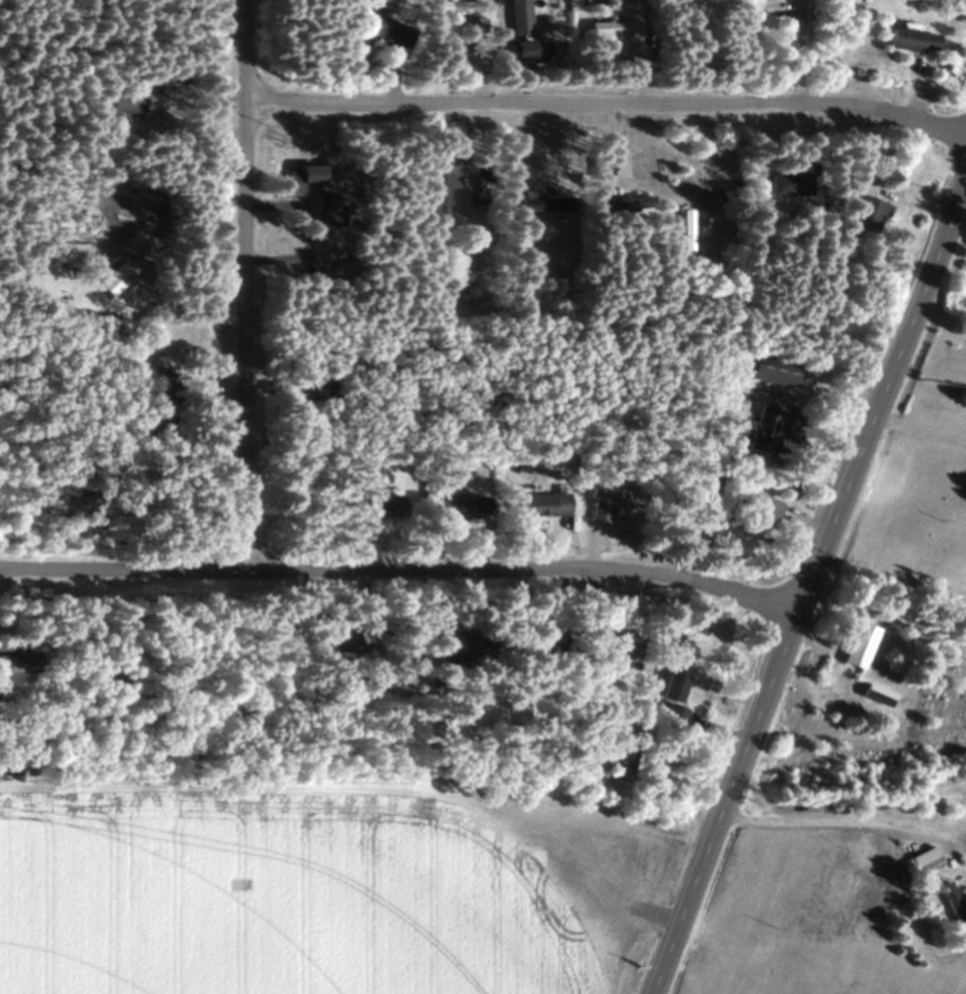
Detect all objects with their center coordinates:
building: (455, 5)
building: (519, 17)
building: (388, 31)
building: (614, 31)
building: (911, 41)
building: (528, 49)
road: (793, 51)
building: (131, 96)
road: (605, 105)
road: (699, 160)
building: (308, 174)
building: (787, 183)
road: (965, 183)
building: (440, 189)
building: (543, 203)
building: (619, 205)
building: (867, 215)
building: (683, 229)
road: (173, 237)
building: (70, 253)
building: (113, 279)
road: (241, 286)
building: (772, 371)
building: (307, 390)
building: (152, 394)
building: (759, 430)
building: (611, 497)
building: (539, 505)
building: (380, 506)
building: (458, 506)
building: (768, 510)
building: (597, 511)
road: (400, 572)
road: (807, 585)
building: (348, 639)
building: (856, 645)
building: (620, 653)
building: (874, 695)
road: (842, 818)
building: (925, 866)
building: (952, 908)

